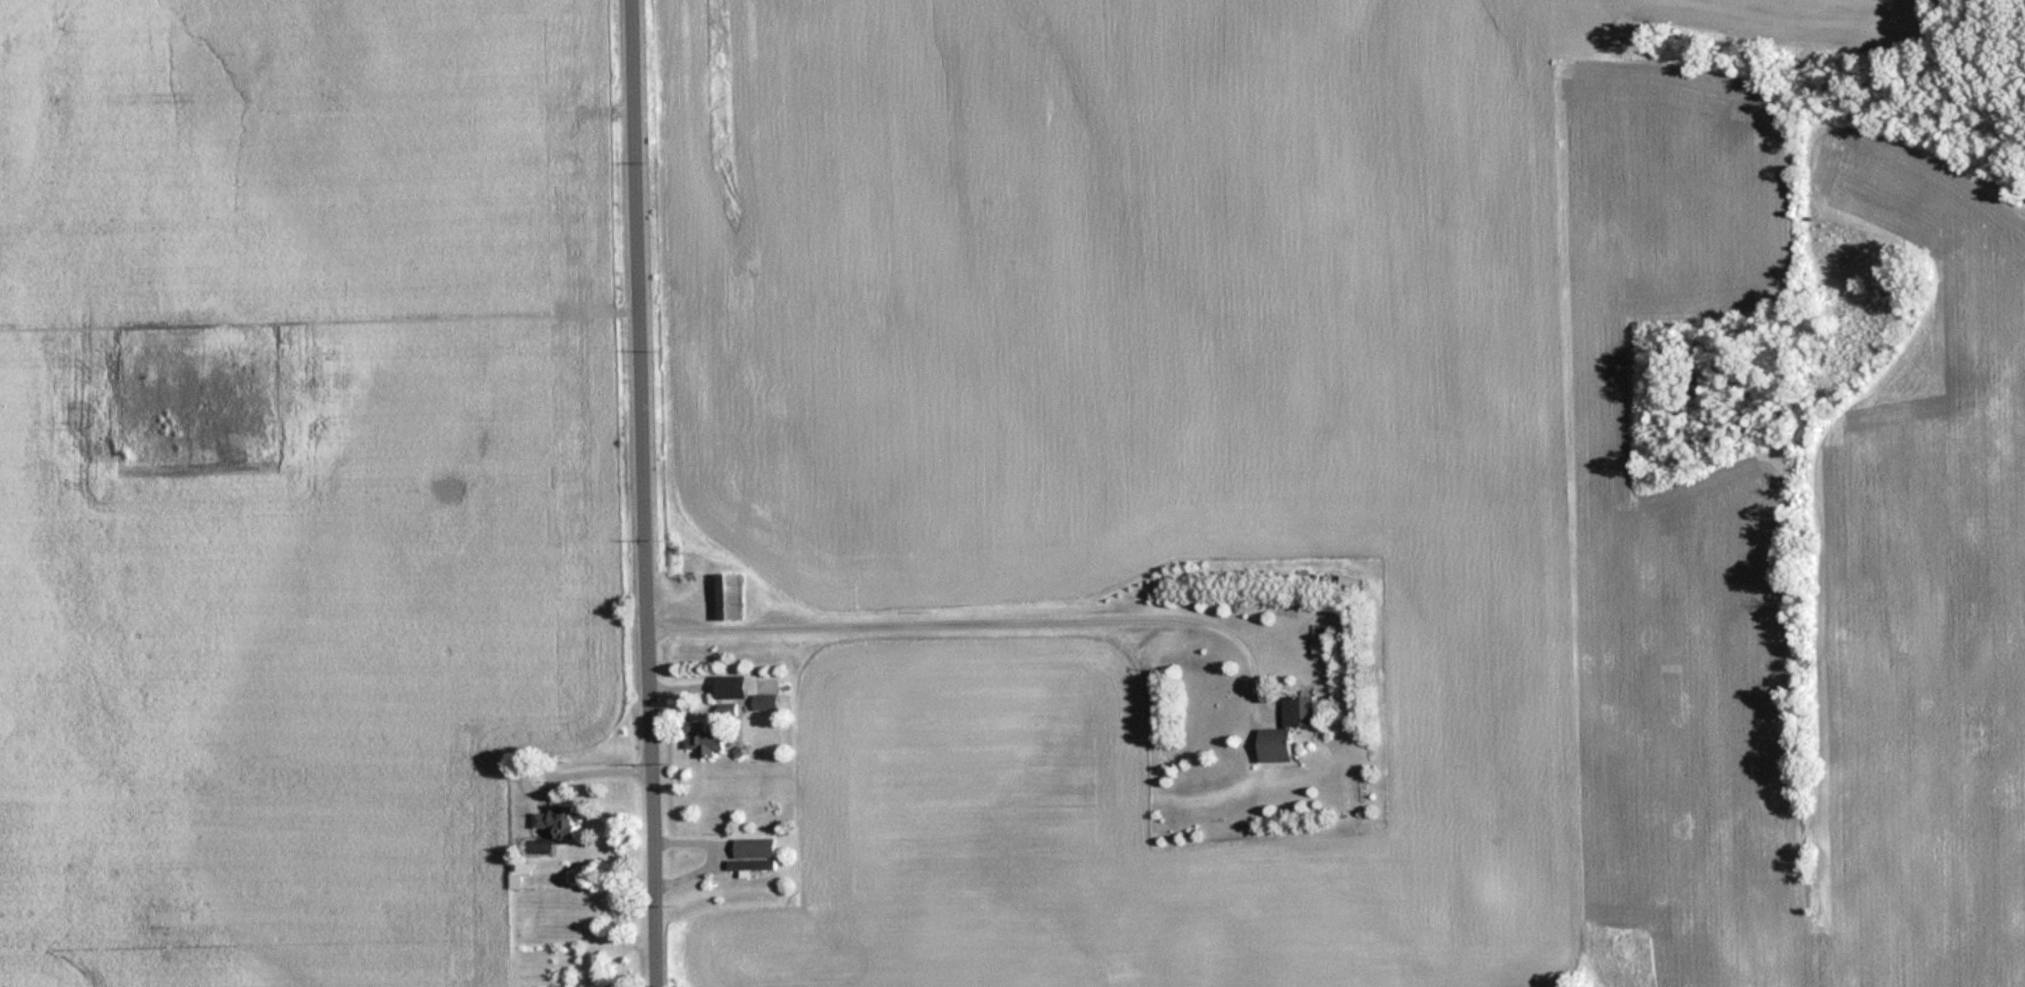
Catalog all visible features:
road: (638, 493)
building: (1348, 582)
building: (728, 597)
road: (980, 617)
building: (730, 687)
building: (764, 702)
building: (725, 710)
building: (1286, 729)
building: (704, 738)
building: (555, 823)
building: (752, 855)

